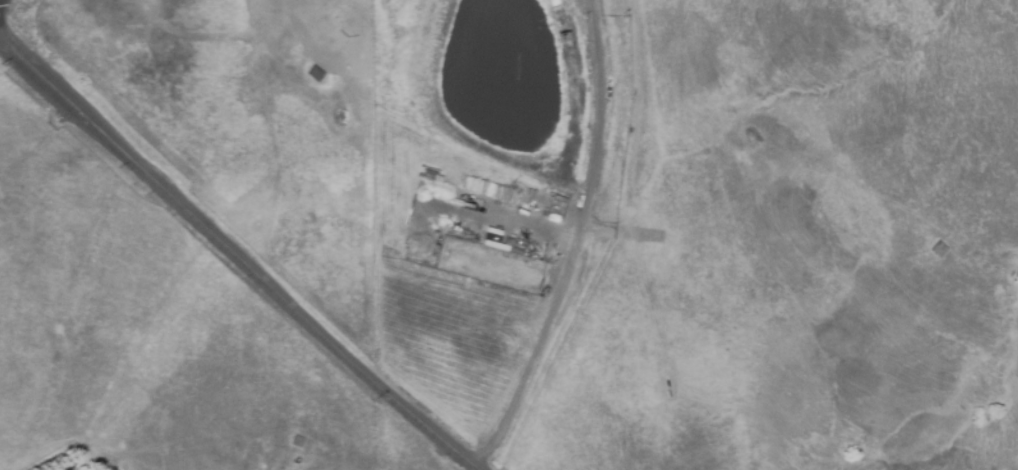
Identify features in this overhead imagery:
building: (316, 76)
road: (506, 213)
road: (577, 242)
road: (241, 255)
building: (297, 442)

